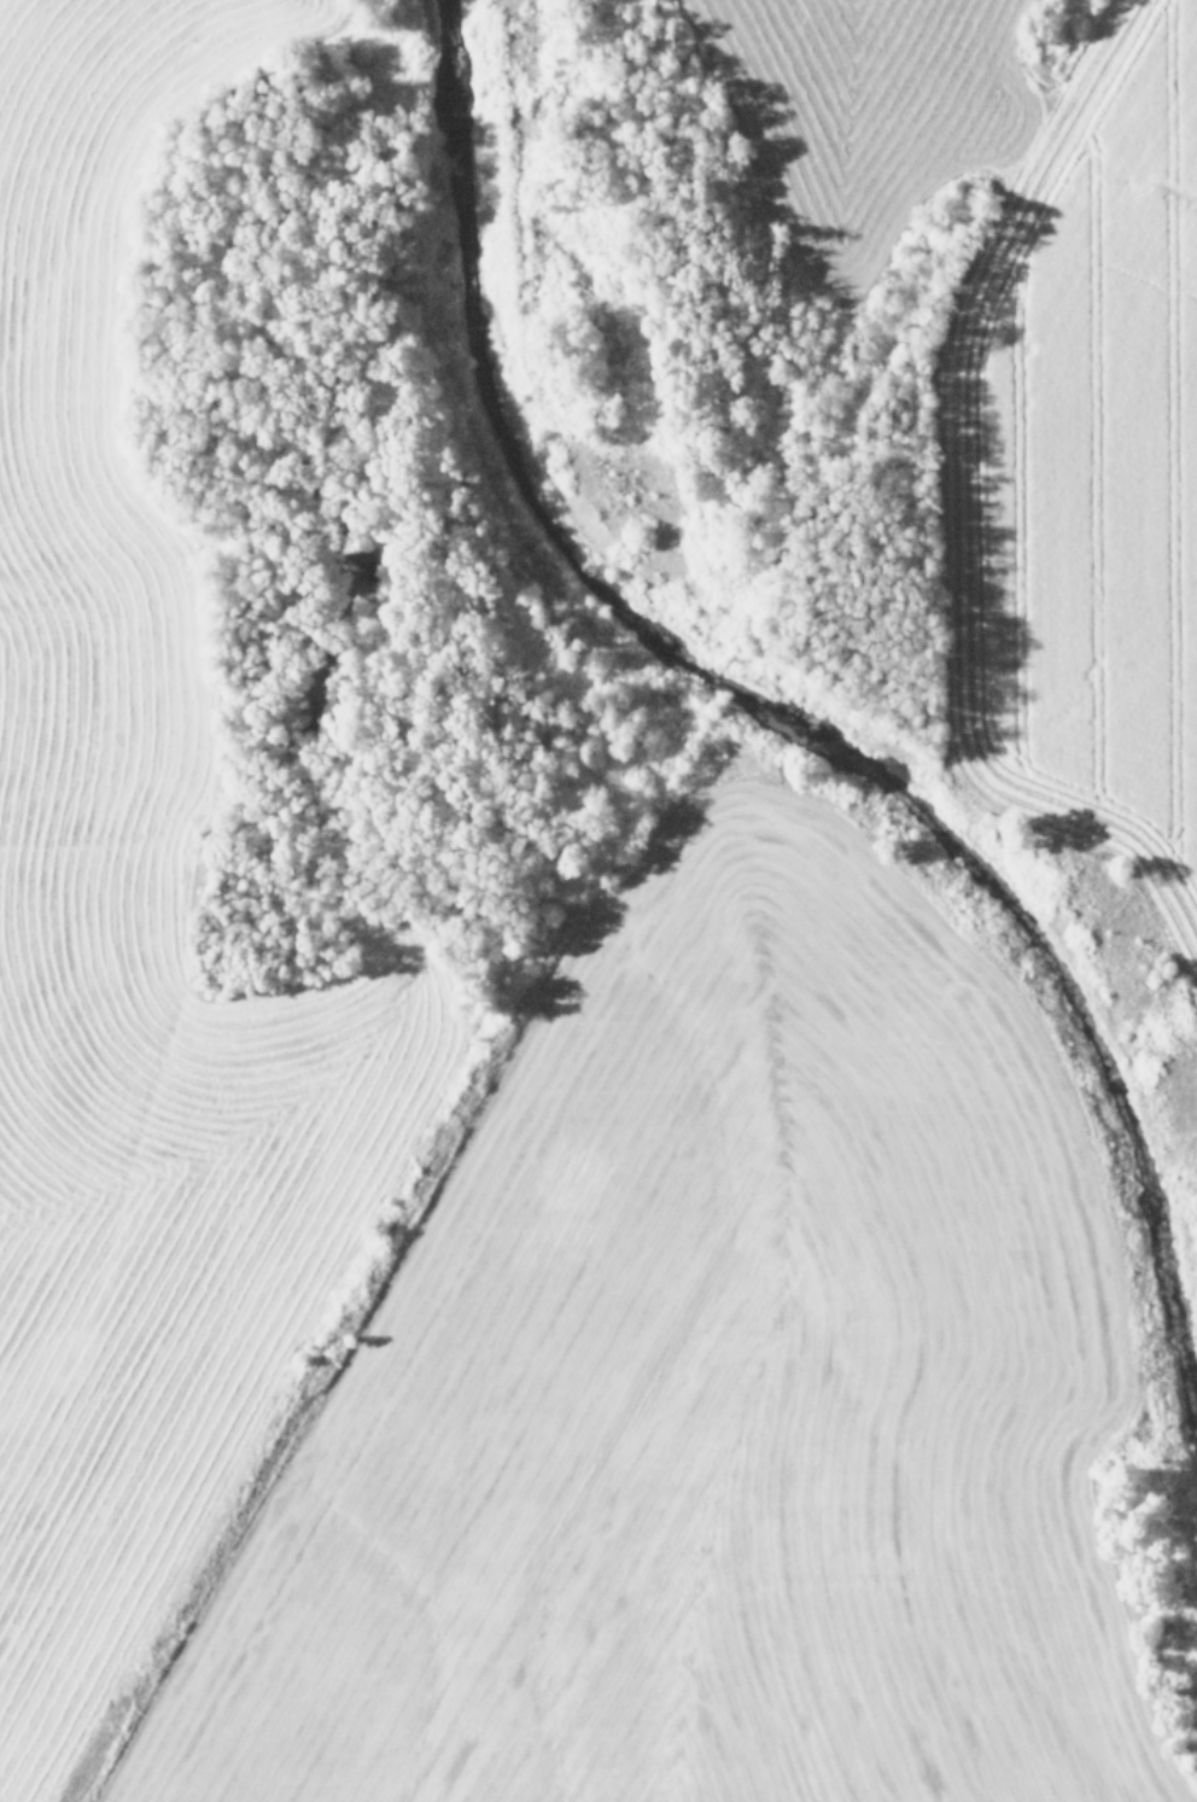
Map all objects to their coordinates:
crop: (1009, 381)
crop: (477, 1247)

